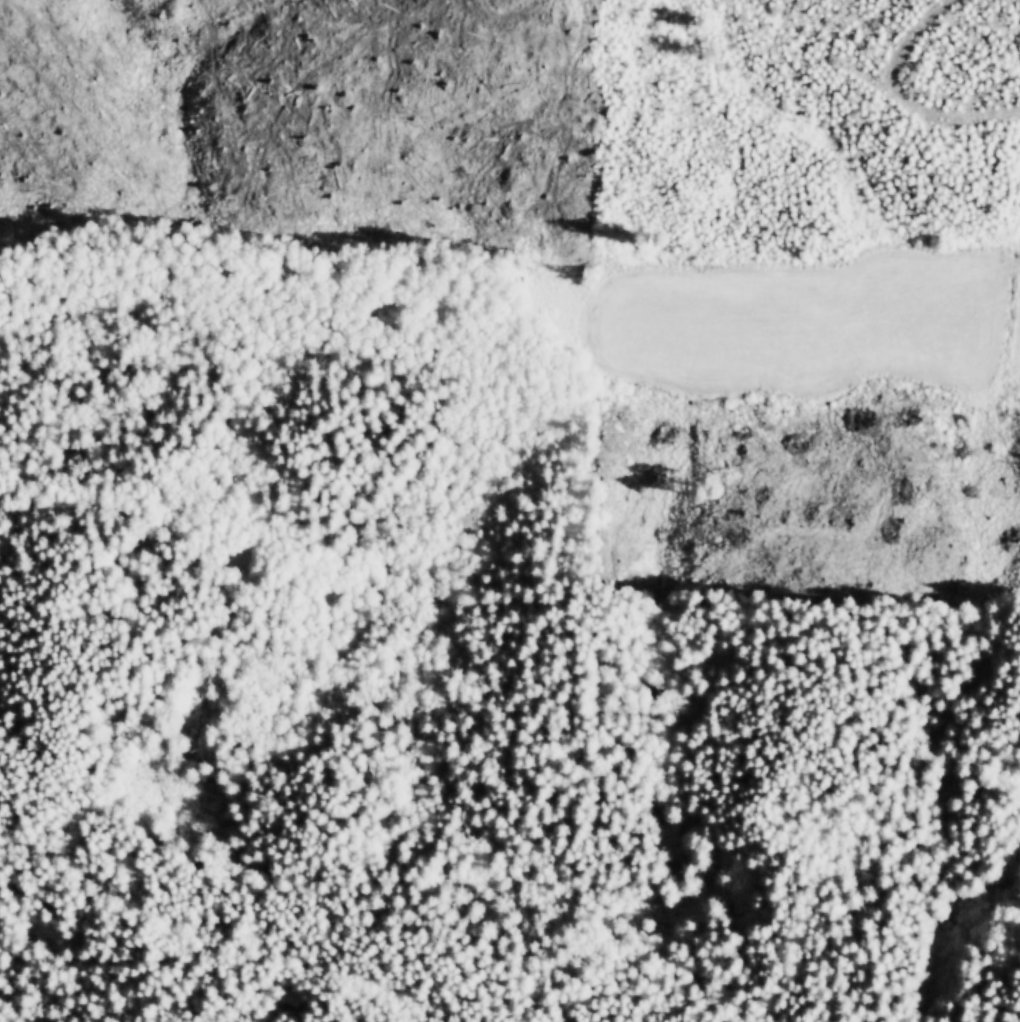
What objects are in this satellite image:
road: (904, 99)
road: (822, 308)
road: (606, 1020)

